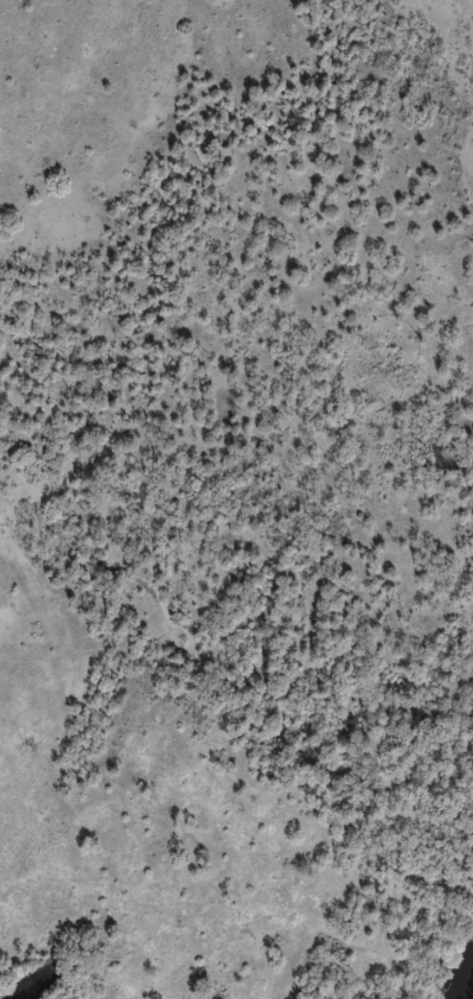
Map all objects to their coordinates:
road: (256, 991)

